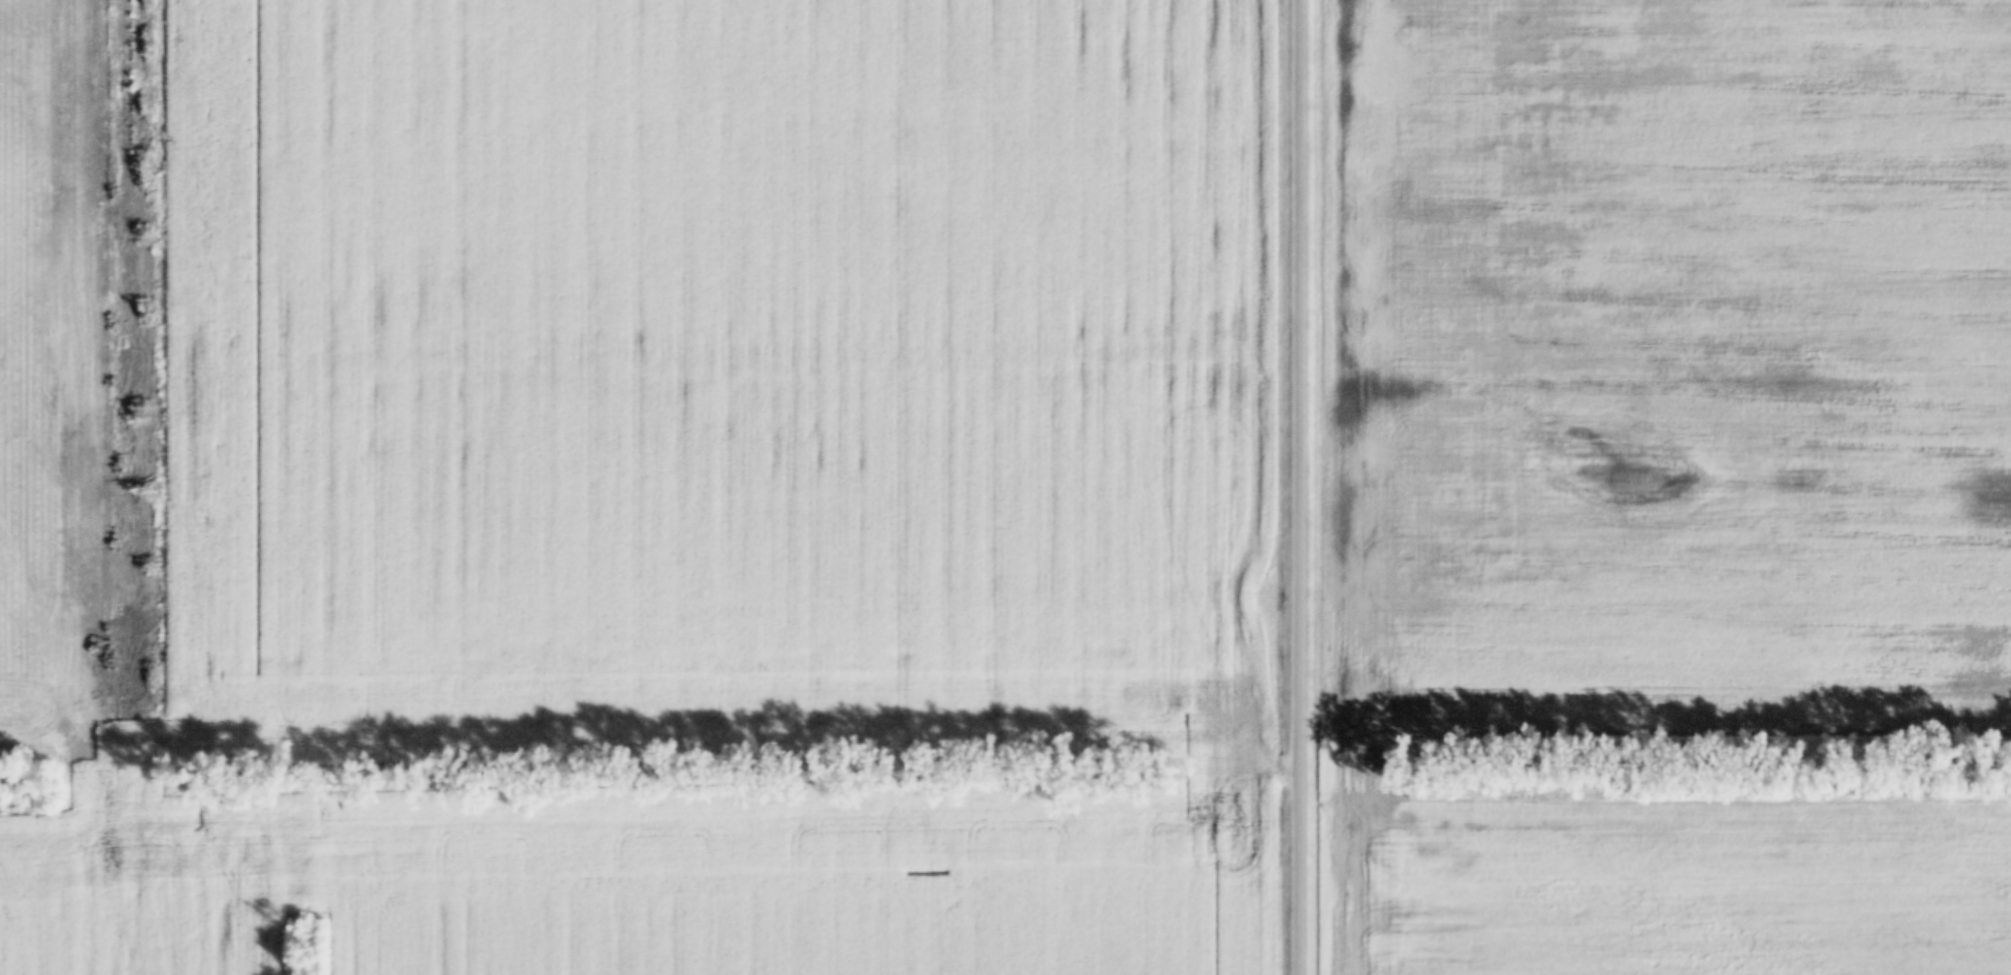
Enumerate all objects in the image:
road: (1306, 487)

